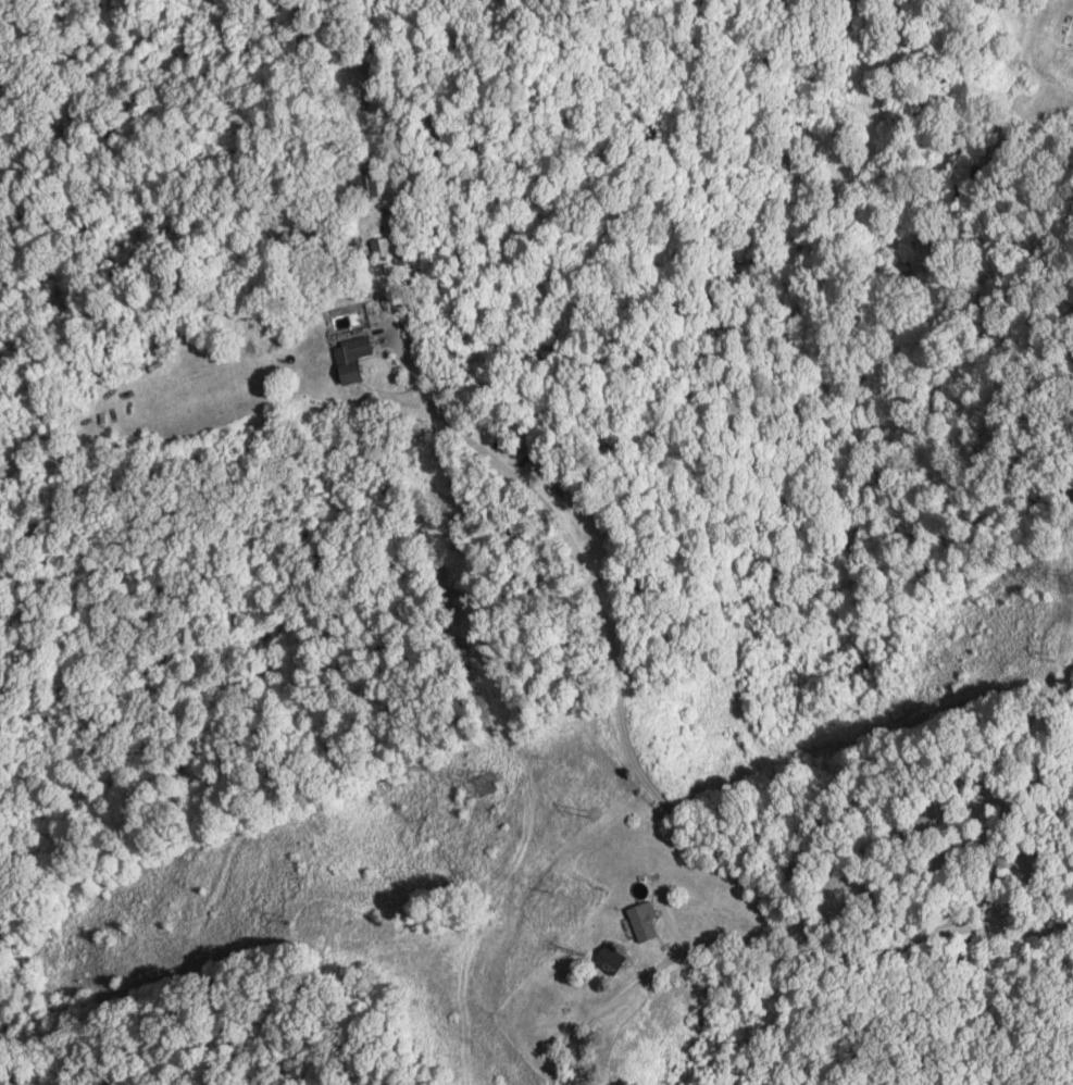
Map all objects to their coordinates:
building: (364, 180)
building: (379, 248)
building: (350, 358)
power tower: (1064, 579)
power tower: (1049, 652)
power tower: (472, 780)
power tower: (591, 814)
building: (641, 922)
building: (608, 957)

